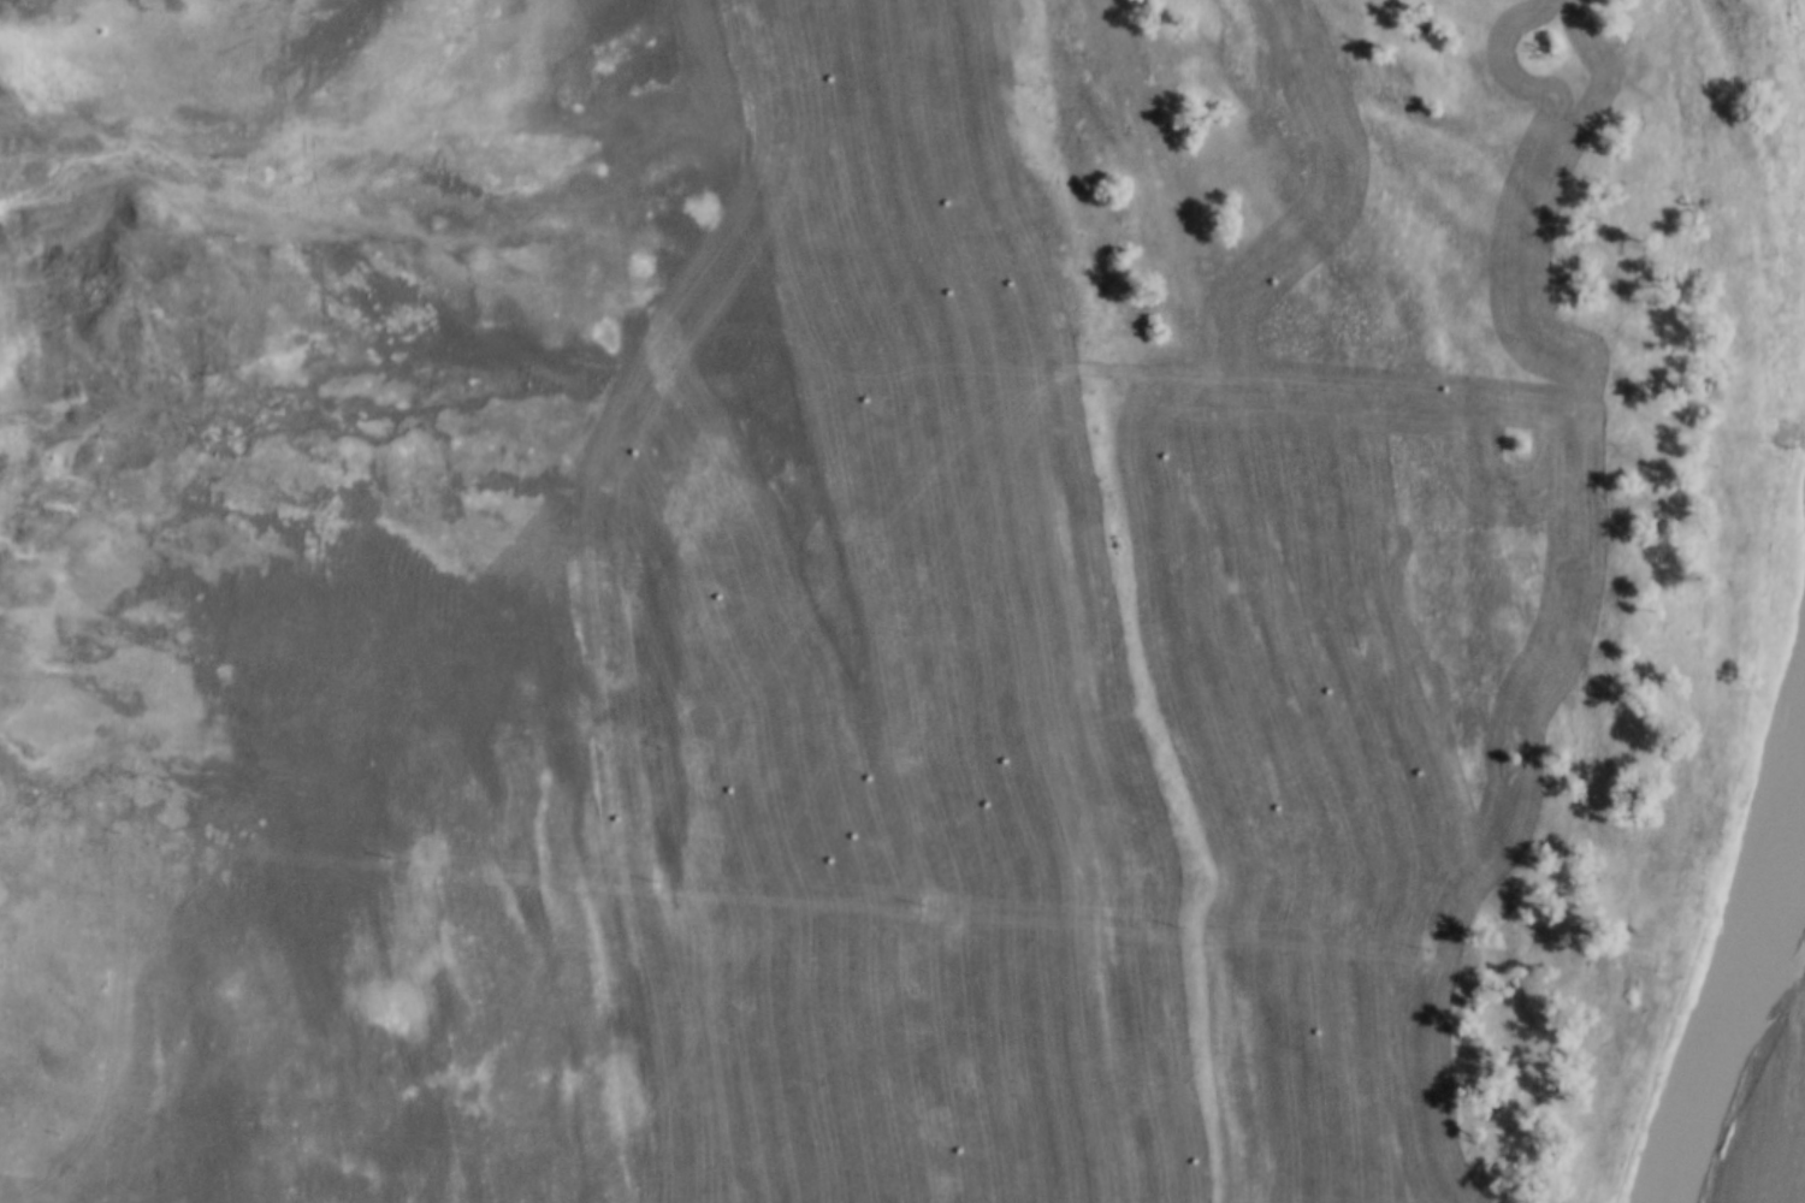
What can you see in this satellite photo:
river: (1734, 988)

